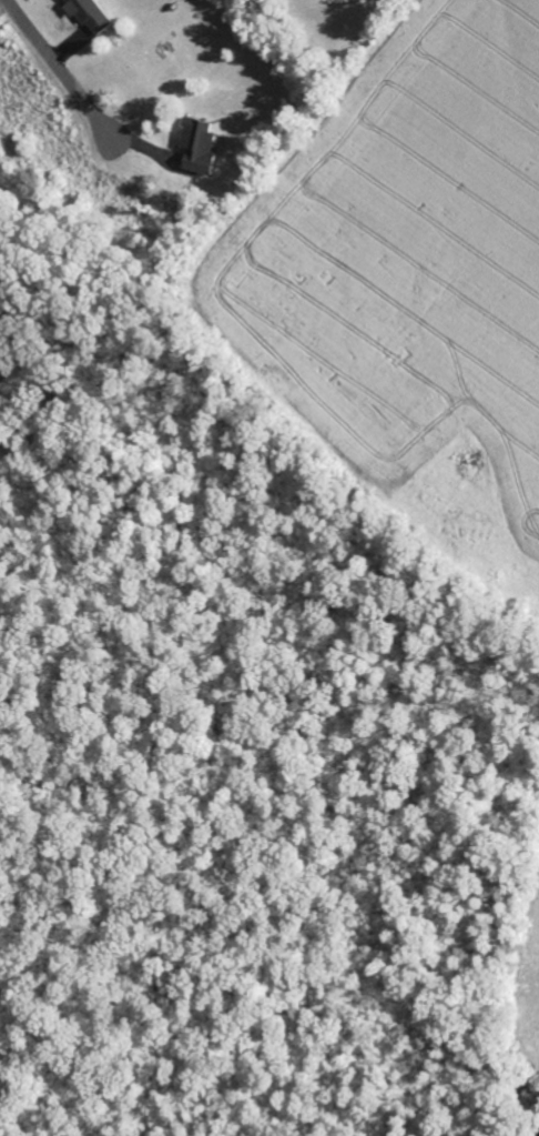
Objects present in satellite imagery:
building: (91, 14)
building: (201, 147)

